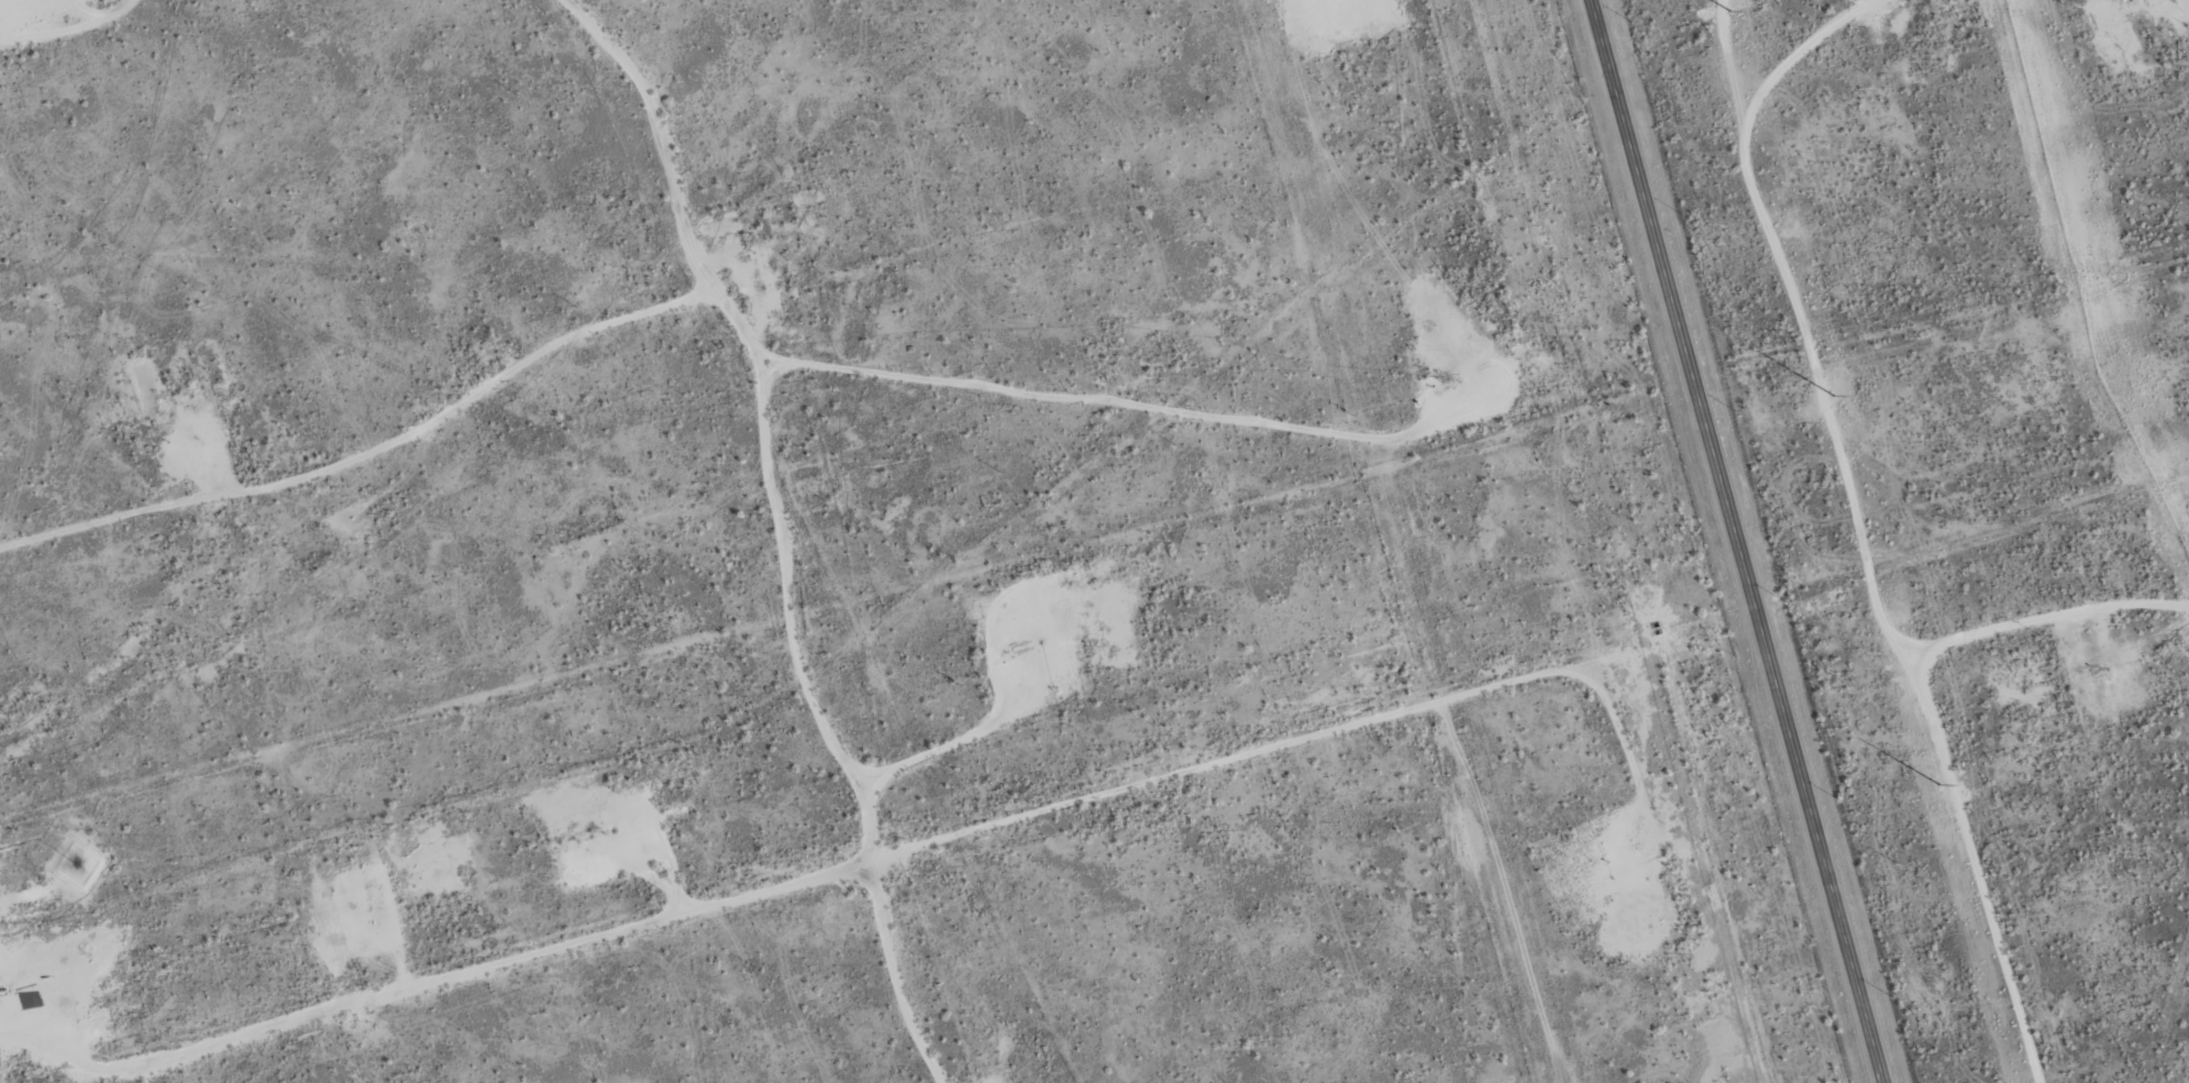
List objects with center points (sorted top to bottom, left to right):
power tower: (1787, 234)
road: (1738, 541)
power tower: (1892, 618)
power tower: (1967, 896)

